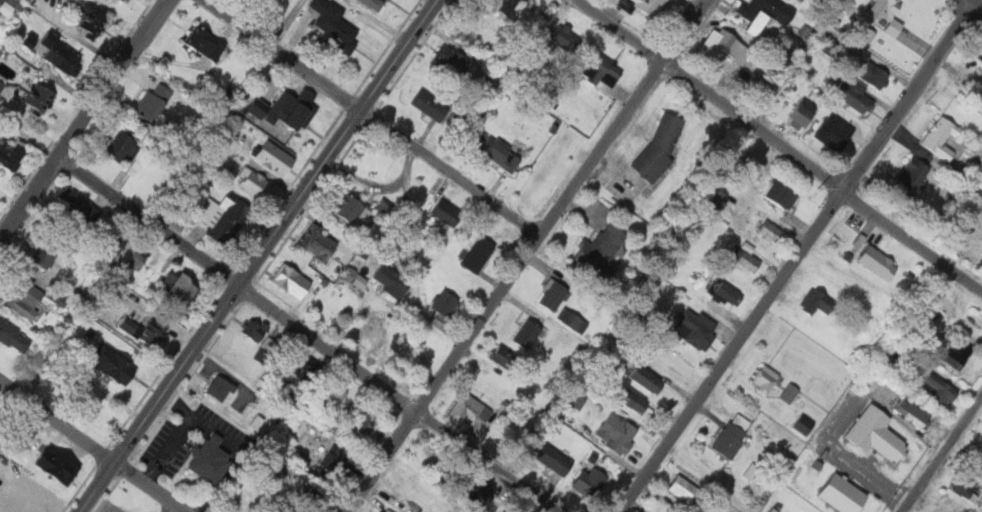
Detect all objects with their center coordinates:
building: (373, 4)
building: (497, 5)
building: (7, 6)
building: (648, 6)
building: (882, 11)
building: (762, 12)
building: (89, 16)
road: (284, 24)
building: (333, 24)
building: (864, 34)
building: (565, 39)
building: (206, 42)
building: (723, 44)
building: (61, 55)
building: (980, 55)
building: (452, 59)
building: (598, 68)
building: (873, 74)
building: (1, 81)
building: (855, 95)
building: (38, 98)
building: (154, 101)
building: (295, 105)
building: (429, 105)
building: (250, 106)
building: (274, 107)
building: (472, 111)
building: (794, 115)
road: (83, 119)
road: (369, 121)
building: (835, 132)
building: (941, 136)
road: (779, 144)
building: (660, 145)
building: (123, 147)
building: (10, 152)
building: (499, 152)
building: (275, 158)
building: (911, 178)
building: (255, 183)
power tower: (819, 187)
building: (780, 194)
building: (75, 205)
building: (380, 205)
building: (351, 209)
building: (217, 211)
building: (448, 212)
building: (770, 230)
building: (111, 244)
building: (321, 244)
building: (601, 248)
building: (478, 253)
building: (44, 254)
road: (527, 254)
road: (795, 254)
road: (260, 256)
building: (744, 258)
building: (134, 259)
building: (878, 262)
road: (415, 276)
building: (291, 280)
building: (390, 281)
road: (235, 285)
building: (180, 287)
building: (728, 293)
building: (553, 295)
building: (23, 296)
building: (444, 302)
building: (815, 302)
building: (572, 320)
building: (124, 324)
building: (154, 332)
building: (699, 332)
building: (527, 333)
building: (13, 337)
building: (258, 337)
building: (958, 353)
building: (501, 359)
building: (114, 364)
building: (302, 370)
building: (646, 378)
building: (764, 378)
building: (219, 387)
building: (938, 389)
building: (789, 392)
building: (632, 399)
building: (572, 400)
building: (467, 409)
building: (914, 411)
building: (362, 418)
building: (617, 432)
building: (981, 432)
building: (877, 433)
building: (733, 435)
road: (90, 447)
road: (942, 455)
building: (210, 458)
building: (554, 459)
road: (488, 460)
building: (334, 462)
building: (57, 464)
building: (590, 481)
building: (964, 484)
building: (682, 488)
building: (480, 493)
building: (844, 493)
building: (770, 510)
building: (373, 511)
building: (381, 511)

